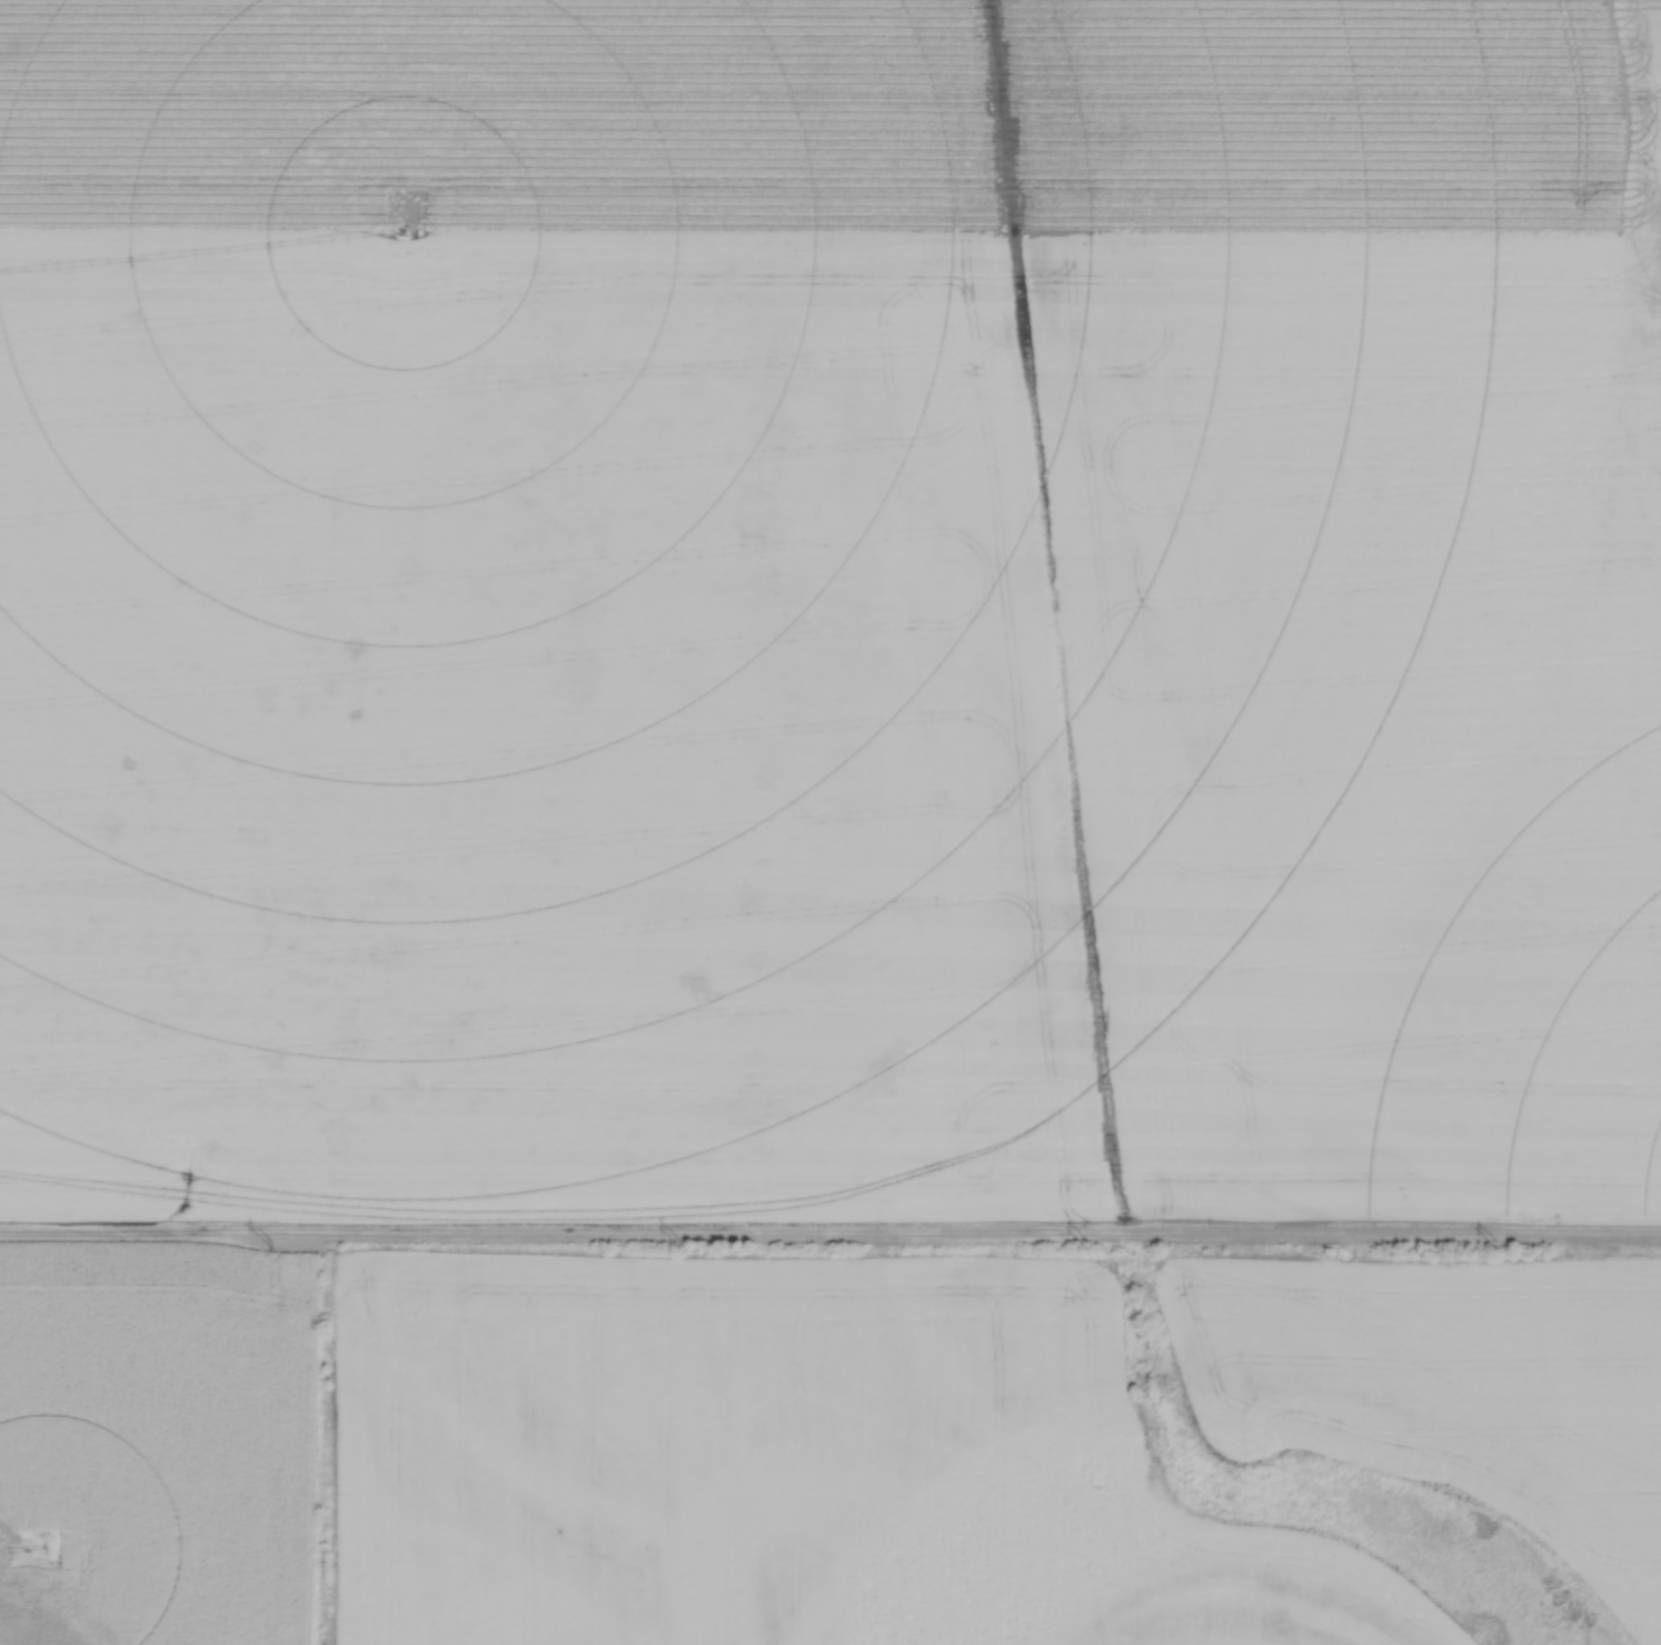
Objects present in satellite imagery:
power tower: (268, 1242)
power tower: (678, 1244)
power tower: (1496, 1244)
power tower: (1087, 1245)

